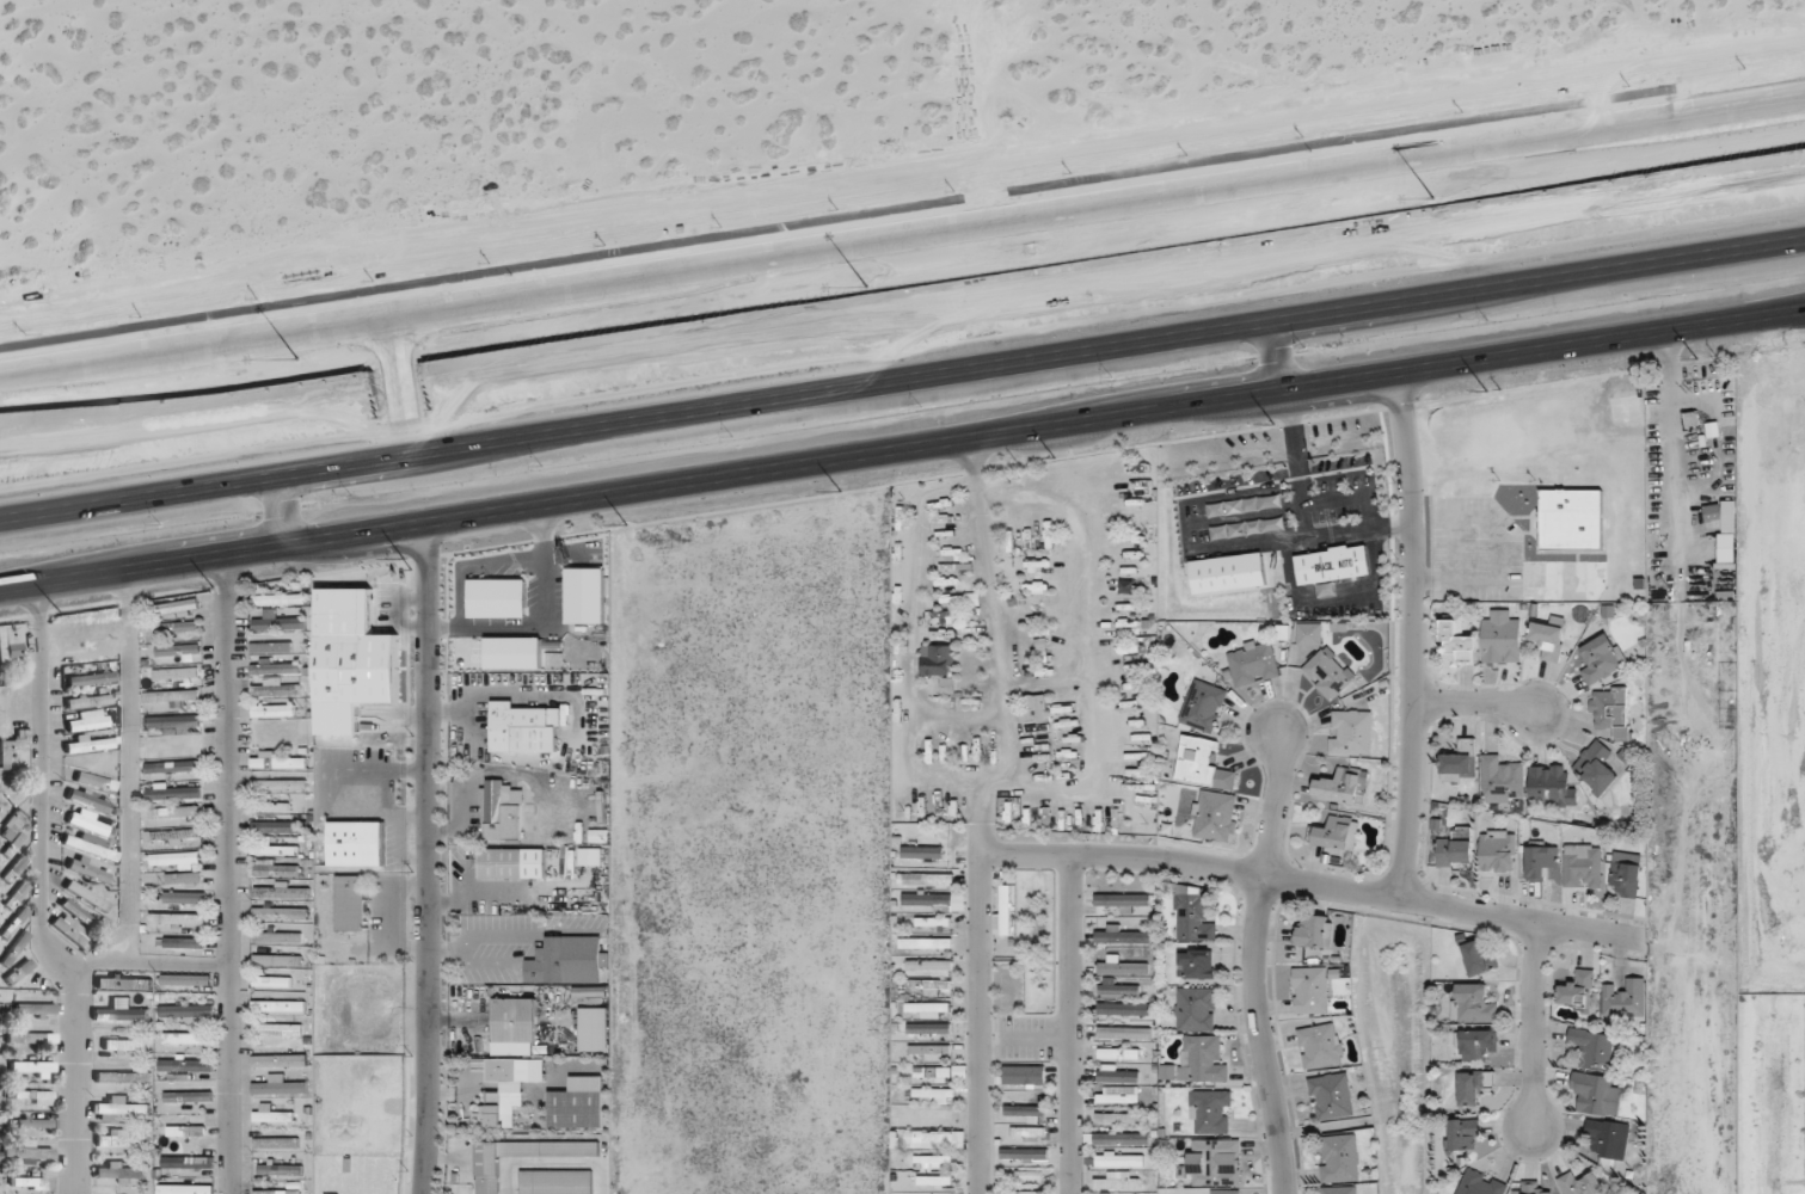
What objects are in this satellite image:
road: (902, 238)
road: (1126, 324)
road: (415, 435)
road: (902, 449)
road: (190, 468)
building: (1713, 513)
road: (1306, 515)
building: (1570, 519)
road: (1255, 542)
road: (1454, 547)
building: (1331, 564)
road: (1498, 566)
building: (177, 608)
building: (280, 622)
building: (180, 627)
building: (1308, 633)
road: (1413, 635)
building: (1502, 638)
building: (1457, 639)
building: (1548, 640)
building: (13, 645)
building: (274, 645)
building: (178, 650)
building: (1602, 658)
building: (350, 659)
building: (939, 659)
building: (1253, 664)
building: (277, 666)
building: (1328, 671)
building: (177, 673)
building: (91, 678)
building: (281, 688)
building: (172, 696)
building: (87, 700)
road: (1476, 703)
building: (1204, 707)
building: (275, 708)
building: (1036, 708)
building: (1611, 710)
building: (87, 720)
building: (174, 722)
building: (522, 727)
building: (1351, 731)
building: (90, 744)
building: (13, 746)
building: (277, 759)
building: (1460, 762)
road: (129, 764)
building: (1204, 764)
building: (1597, 767)
building: (1503, 780)
building: (96, 781)
building: (280, 784)
building: (1343, 786)
building: (1552, 786)
building: (174, 792)
building: (88, 800)
building: (275, 805)
building: (502, 811)
building: (174, 812)
building: (1216, 816)
road: (462, 818)
building: (90, 823)
building: (280, 826)
building: (1338, 832)
building: (172, 835)
building: (354, 843)
building: (91, 845)
building: (275, 848)
building: (1456, 848)
building: (1497, 850)
building: (922, 851)
road: (1072, 854)
building: (591, 856)
road: (428, 858)
building: (1541, 858)
building: (508, 863)
building: (1583, 864)
building: (14, 868)
building: (276, 868)
building: (88, 869)
road: (228, 874)
building: (1626, 875)
building: (184, 879)
building: (927, 879)
building: (282, 890)
building: (17, 894)
road: (39, 894)
building: (87, 895)
building: (185, 897)
road: (1406, 899)
building: (934, 900)
building: (1124, 900)
building: (349, 903)
building: (1005, 909)
building: (79, 913)
building: (275, 915)
building: (1192, 915)
building: (178, 918)
building: (934, 921)
building: (14, 922)
building: (70, 929)
building: (1314, 930)
road: (573, 934)
building: (1123, 935)
building: (277, 937)
building: (184, 942)
building: (926, 942)
road: (444, 947)
road: (535, 947)
building: (14, 949)
building: (1480, 958)
building: (572, 959)
road: (141, 960)
building: (277, 960)
building: (1196, 962)
building: (929, 966)
building: (1123, 966)
road: (1255, 966)
building: (18, 971)
building: (190, 980)
building: (123, 981)
building: (272, 981)
building: (932, 986)
building: (1118, 986)
building: (1312, 990)
building: (1578, 990)
building: (1626, 998)
building: (1473, 1003)
building: (280, 1005)
road: (978, 1007)
building: (36, 1008)
building: (1124, 1008)
building: (928, 1009)
building: (1196, 1009)
building: (121, 1010)
building: (186, 1010)
building: (516, 1020)
road: (1072, 1023)
road: (1535, 1023)
building: (929, 1028)
building: (278, 1029)
building: (1122, 1032)
building: (31, 1038)
building: (186, 1038)
road: (1037, 1038)
building: (1476, 1044)
building: (125, 1045)
building: (1321, 1045)
building: (1594, 1048)
building: (931, 1052)
building: (1119, 1053)
building: (1203, 1058)
building: (280, 1060)
building: (186, 1064)
building: (32, 1067)
building: (940, 1071)
building: (1118, 1073)
building: (1025, 1075)
building: (123, 1077)
building: (280, 1085)
building: (1475, 1087)
building: (503, 1090)
building: (934, 1094)
building: (1118, 1094)
building: (1596, 1094)
building: (1332, 1095)
building: (35, 1096)
building: (191, 1096)
building: (577, 1108)
building: (1026, 1110)
building: (1211, 1110)
building: (934, 1114)
building: (271, 1115)
building: (1122, 1119)
building: (35, 1122)
building: (188, 1131)
building: (1029, 1132)
building: (1463, 1134)
building: (119, 1137)
road: (539, 1137)
building: (934, 1137)
building: (1122, 1138)
building: (1608, 1138)
building: (276, 1143)
building: (29, 1152)
building: (1025, 1153)
building: (1339, 1157)
road: (449, 1159)
building: (1115, 1159)
road: (559, 1161)
building: (933, 1161)
building: (1215, 1161)
building: (188, 1162)
building: (280, 1169)
building: (119, 1170)
building: (1030, 1174)
building: (489, 1175)
building: (935, 1180)
building: (1118, 1180)
building: (31, 1181)
building: (557, 1181)
building: (1480, 1183)
building: (1582, 1183)
building: (1534, 1188)
building: (1340, 1189)
building: (281, 1192)
building: (1024, 1192)
building: (1227, 1192)

